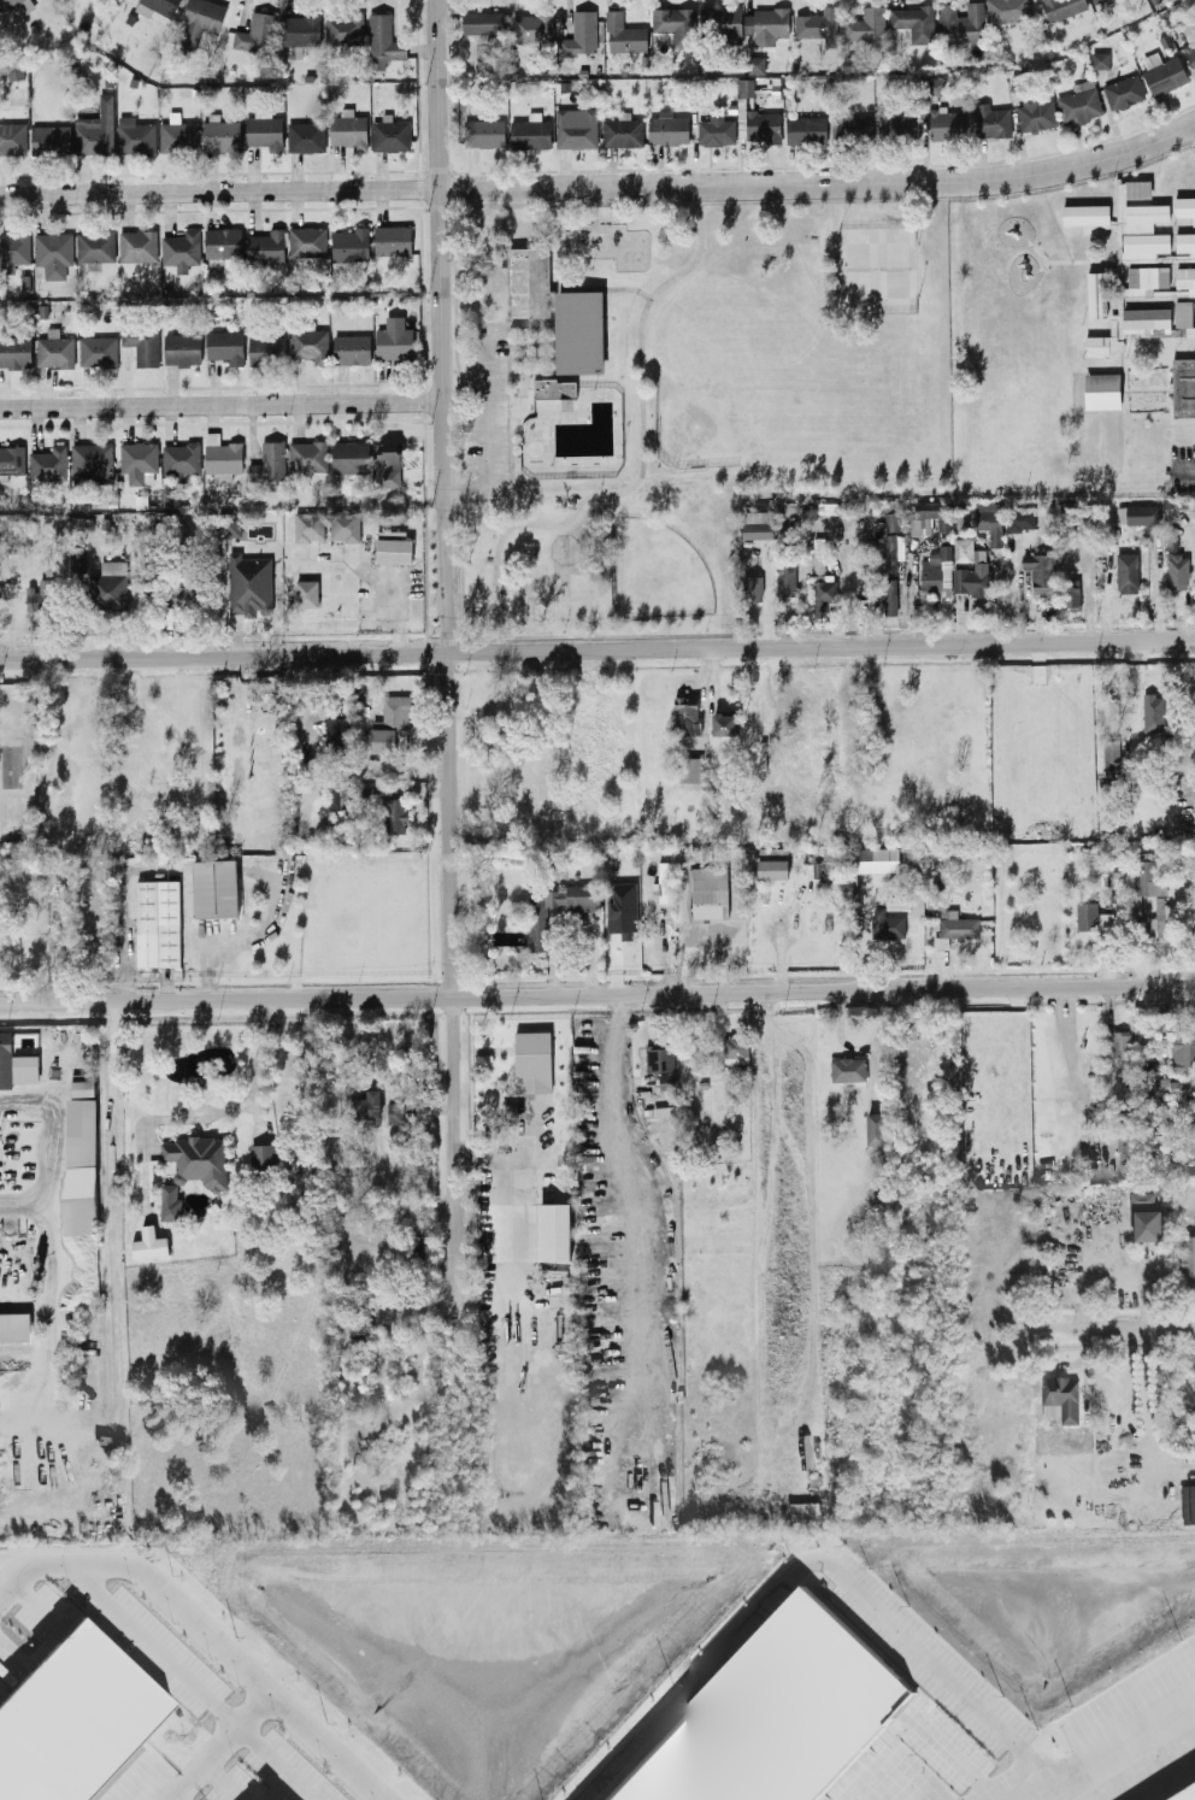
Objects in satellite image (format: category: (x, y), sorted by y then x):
building: (1094, 0)
building: (19, 4)
building: (155, 6)
building: (1060, 7)
building: (0, 8)
building: (1007, 10)
building: (200, 19)
building: (912, 20)
building: (481, 22)
building: (963, 22)
building: (673, 23)
building: (723, 23)
building: (765, 24)
building: (817, 24)
building: (865, 25)
building: (343, 27)
building: (530, 27)
building: (300, 29)
building: (255, 31)
building: (623, 33)
building: (579, 34)
building: (382, 40)
building: (1190, 53)
building: (1099, 59)
building: (753, 63)
building: (1161, 72)
building: (743, 87)
building: (1123, 90)
building: (1079, 101)
building: (1035, 112)
building: (993, 119)
building: (755, 122)
building: (944, 123)
road: (1194, 124)
building: (94, 128)
building: (575, 128)
building: (666, 128)
building: (852, 128)
building: (347, 129)
building: (714, 129)
building: (805, 129)
building: (263, 130)
building: (620, 130)
building: (483, 131)
building: (529, 131)
building: (219, 133)
building: (389, 133)
building: (134, 135)
building: (177, 136)
building: (305, 136)
building: (12, 137)
building: (49, 139)
road: (601, 186)
road: (820, 199)
building: (1184, 206)
building: (1118, 210)
road: (594, 213)
road: (835, 227)
building: (306, 240)
building: (392, 240)
building: (222, 241)
building: (348, 243)
building: (94, 245)
building: (136, 245)
building: (265, 245)
building: (1142, 245)
building: (181, 248)
building: (13, 249)
road: (565, 251)
building: (52, 252)
park: (876, 270)
building: (1143, 278)
building: (1184, 278)
building: (528, 282)
road: (559, 289)
building: (1096, 293)
building: (1184, 316)
road: (473, 323)
building: (1126, 328)
building: (578, 330)
building: (393, 339)
building: (141, 343)
building: (308, 343)
building: (224, 345)
building: (181, 348)
building: (265, 348)
building: (351, 348)
building: (53, 349)
building: (96, 349)
building: (14, 351)
building: (1183, 386)
building: (553, 387)
building: (1101, 389)
park: (683, 393)
parking lot: (487, 401)
road: (220, 405)
road: (489, 429)
building: (307, 454)
building: (220, 455)
building: (349, 455)
building: (179, 458)
building: (12, 459)
building: (137, 460)
building: (90, 461)
building: (267, 461)
building: (47, 463)
building: (387, 463)
road: (640, 464)
road: (510, 465)
road: (1183, 470)
building: (1138, 516)
building: (1022, 517)
building: (988, 519)
building: (890, 520)
building: (229, 524)
building: (308, 525)
building: (343, 525)
building: (755, 529)
building: (392, 547)
building: (963, 548)
building: (891, 551)
park: (655, 569)
building: (935, 570)
building: (1176, 570)
building: (820, 572)
building: (1125, 572)
building: (1038, 573)
building: (785, 577)
building: (971, 580)
building: (110, 584)
building: (248, 584)
building: (750, 587)
building: (899, 589)
building: (1070, 592)
building: (305, 593)
building: (40, 595)
building: (167, 595)
road: (393, 595)
building: (889, 595)
building: (818, 608)
road: (596, 648)
building: (685, 714)
building: (1152, 716)
road: (306, 719)
building: (388, 723)
building: (723, 723)
building: (335, 730)
building: (1109, 749)
road: (447, 766)
building: (689, 769)
building: (337, 796)
building: (393, 814)
building: (875, 859)
building: (770, 863)
building: (1147, 878)
building: (660, 881)
building: (214, 888)
building: (707, 890)
building: (557, 906)
building: (1089, 916)
building: (1158, 918)
building: (157, 923)
building: (887, 924)
building: (954, 927)
road: (597, 990)
building: (1119, 1047)
building: (1183, 1048)
building: (659, 1058)
building: (531, 1060)
building: (14, 1064)
building: (847, 1067)
road: (617, 1070)
road: (253, 1076)
building: (666, 1080)
building: (82, 1088)
building: (370, 1102)
building: (394, 1112)
building: (970, 1114)
building: (873, 1128)
road: (530, 1131)
building: (263, 1157)
road: (530, 1157)
building: (196, 1159)
building: (80, 1165)
building: (1142, 1201)
building: (169, 1202)
road: (42, 1205)
building: (1149, 1228)
building: (552, 1230)
building: (148, 1243)
building: (1188, 1263)
building: (14, 1325)
road: (1115, 1329)
building: (1062, 1401)
building: (1189, 1506)
building: (799, 1513)
road: (207, 1631)
road: (159, 1646)
building: (777, 1716)
building: (80, 1729)
road: (219, 1746)
road: (1115, 1749)
road: (277, 1763)
building: (1189, 1796)

